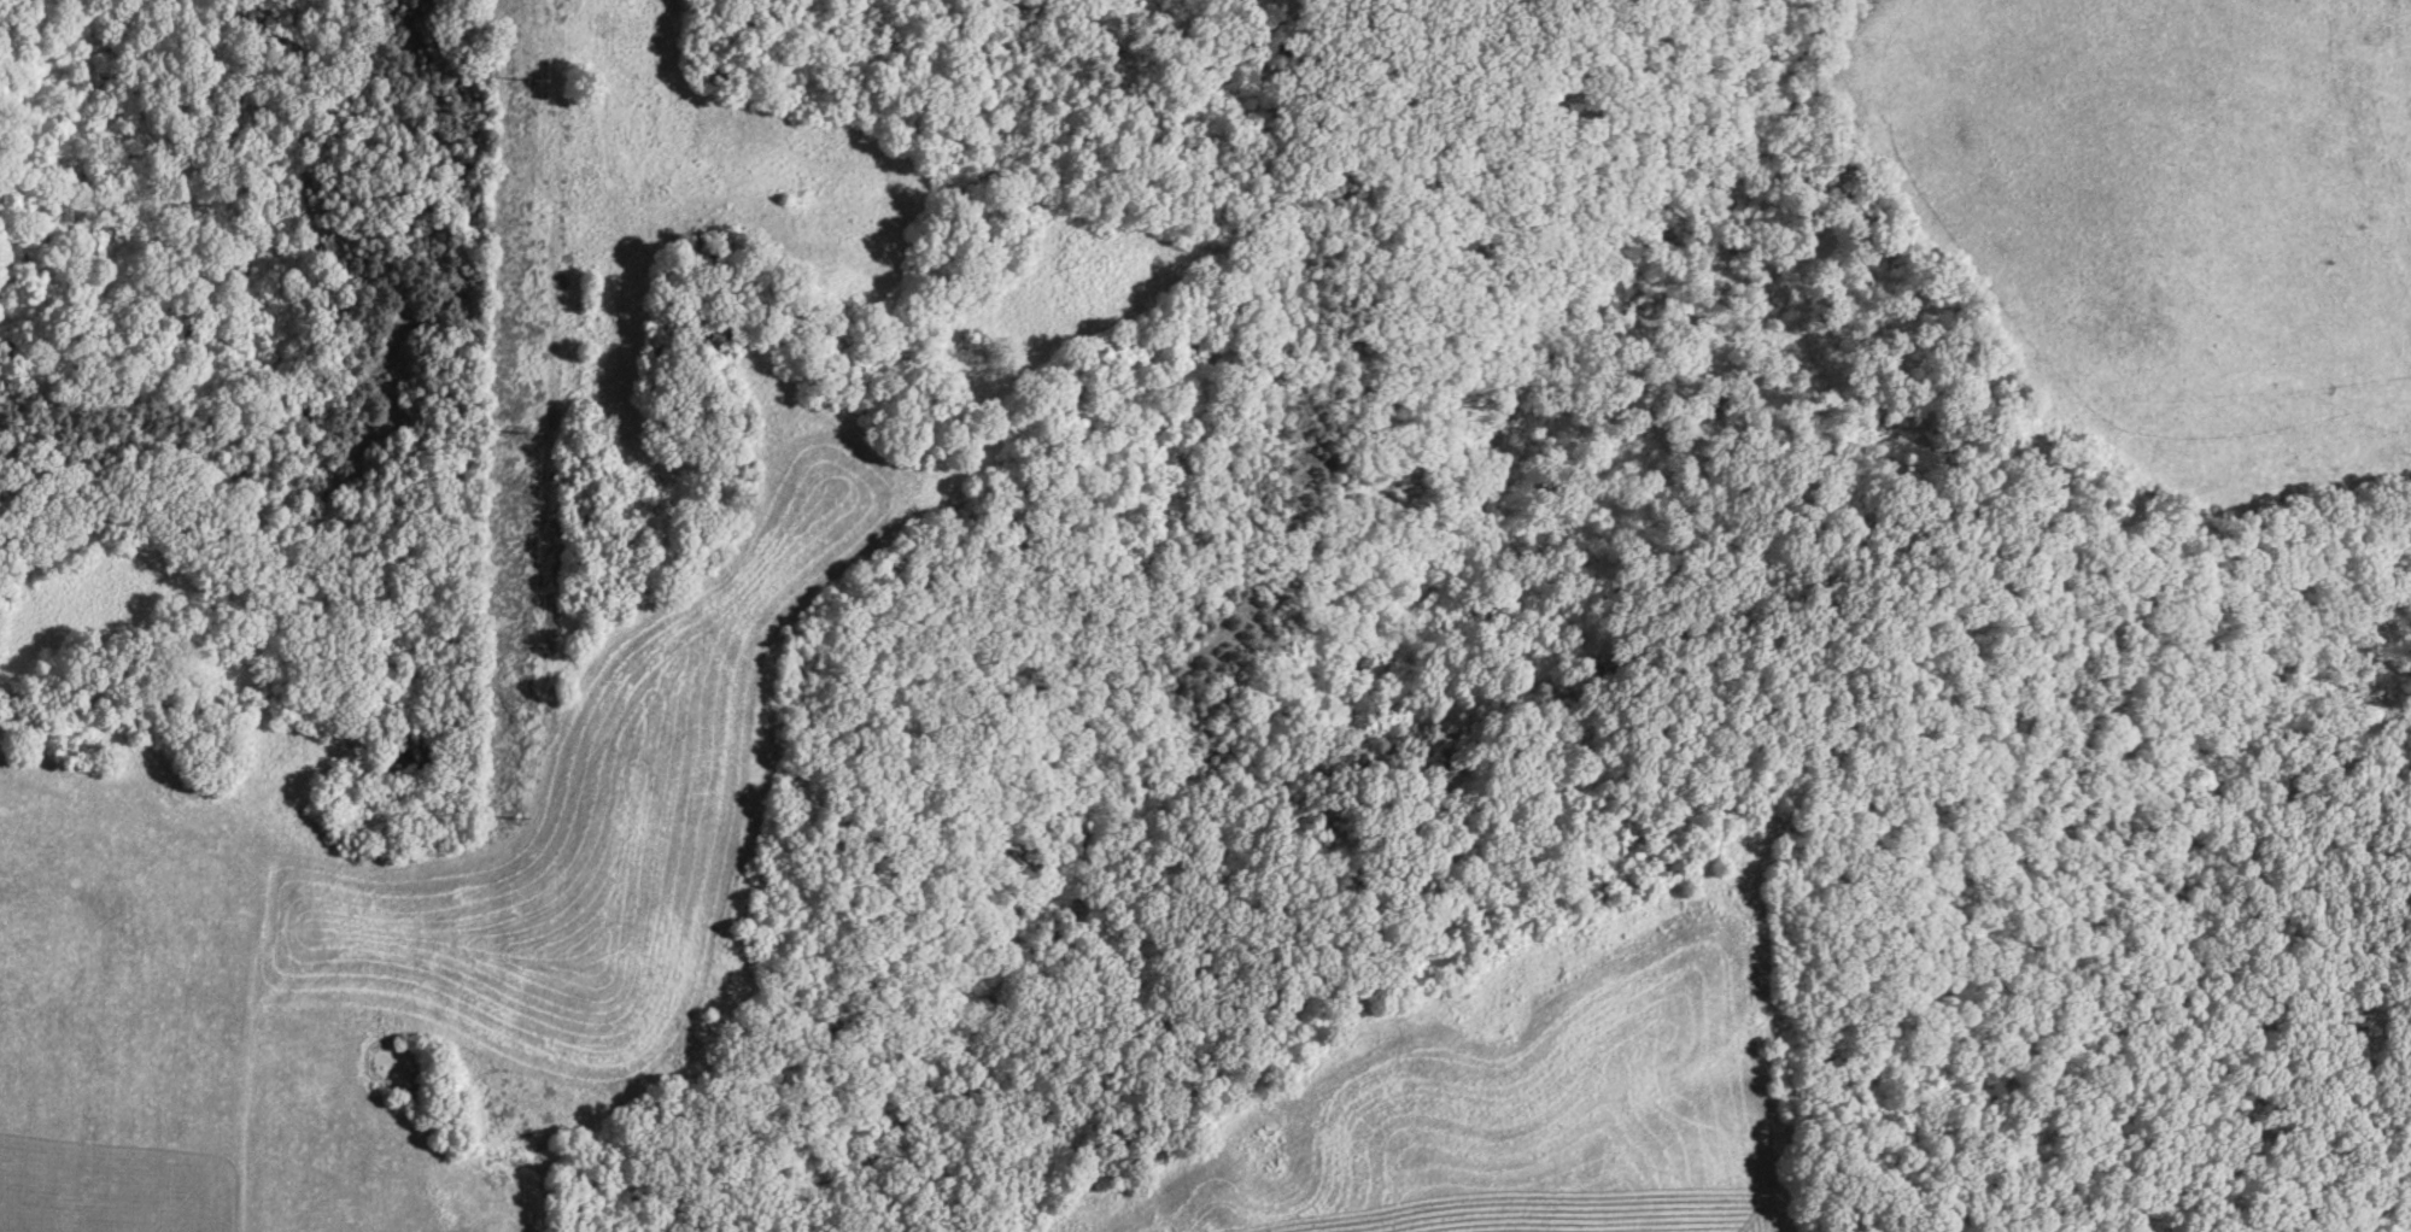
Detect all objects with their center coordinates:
power tower: (532, 77)
power tower: (521, 429)
power tower: (511, 819)

